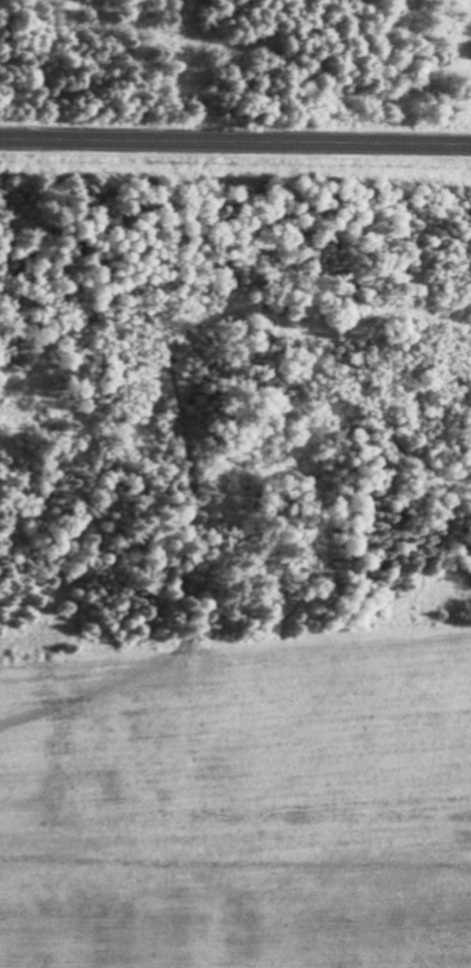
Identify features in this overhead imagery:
road: (235, 143)
building: (453, 748)
building: (254, 858)

